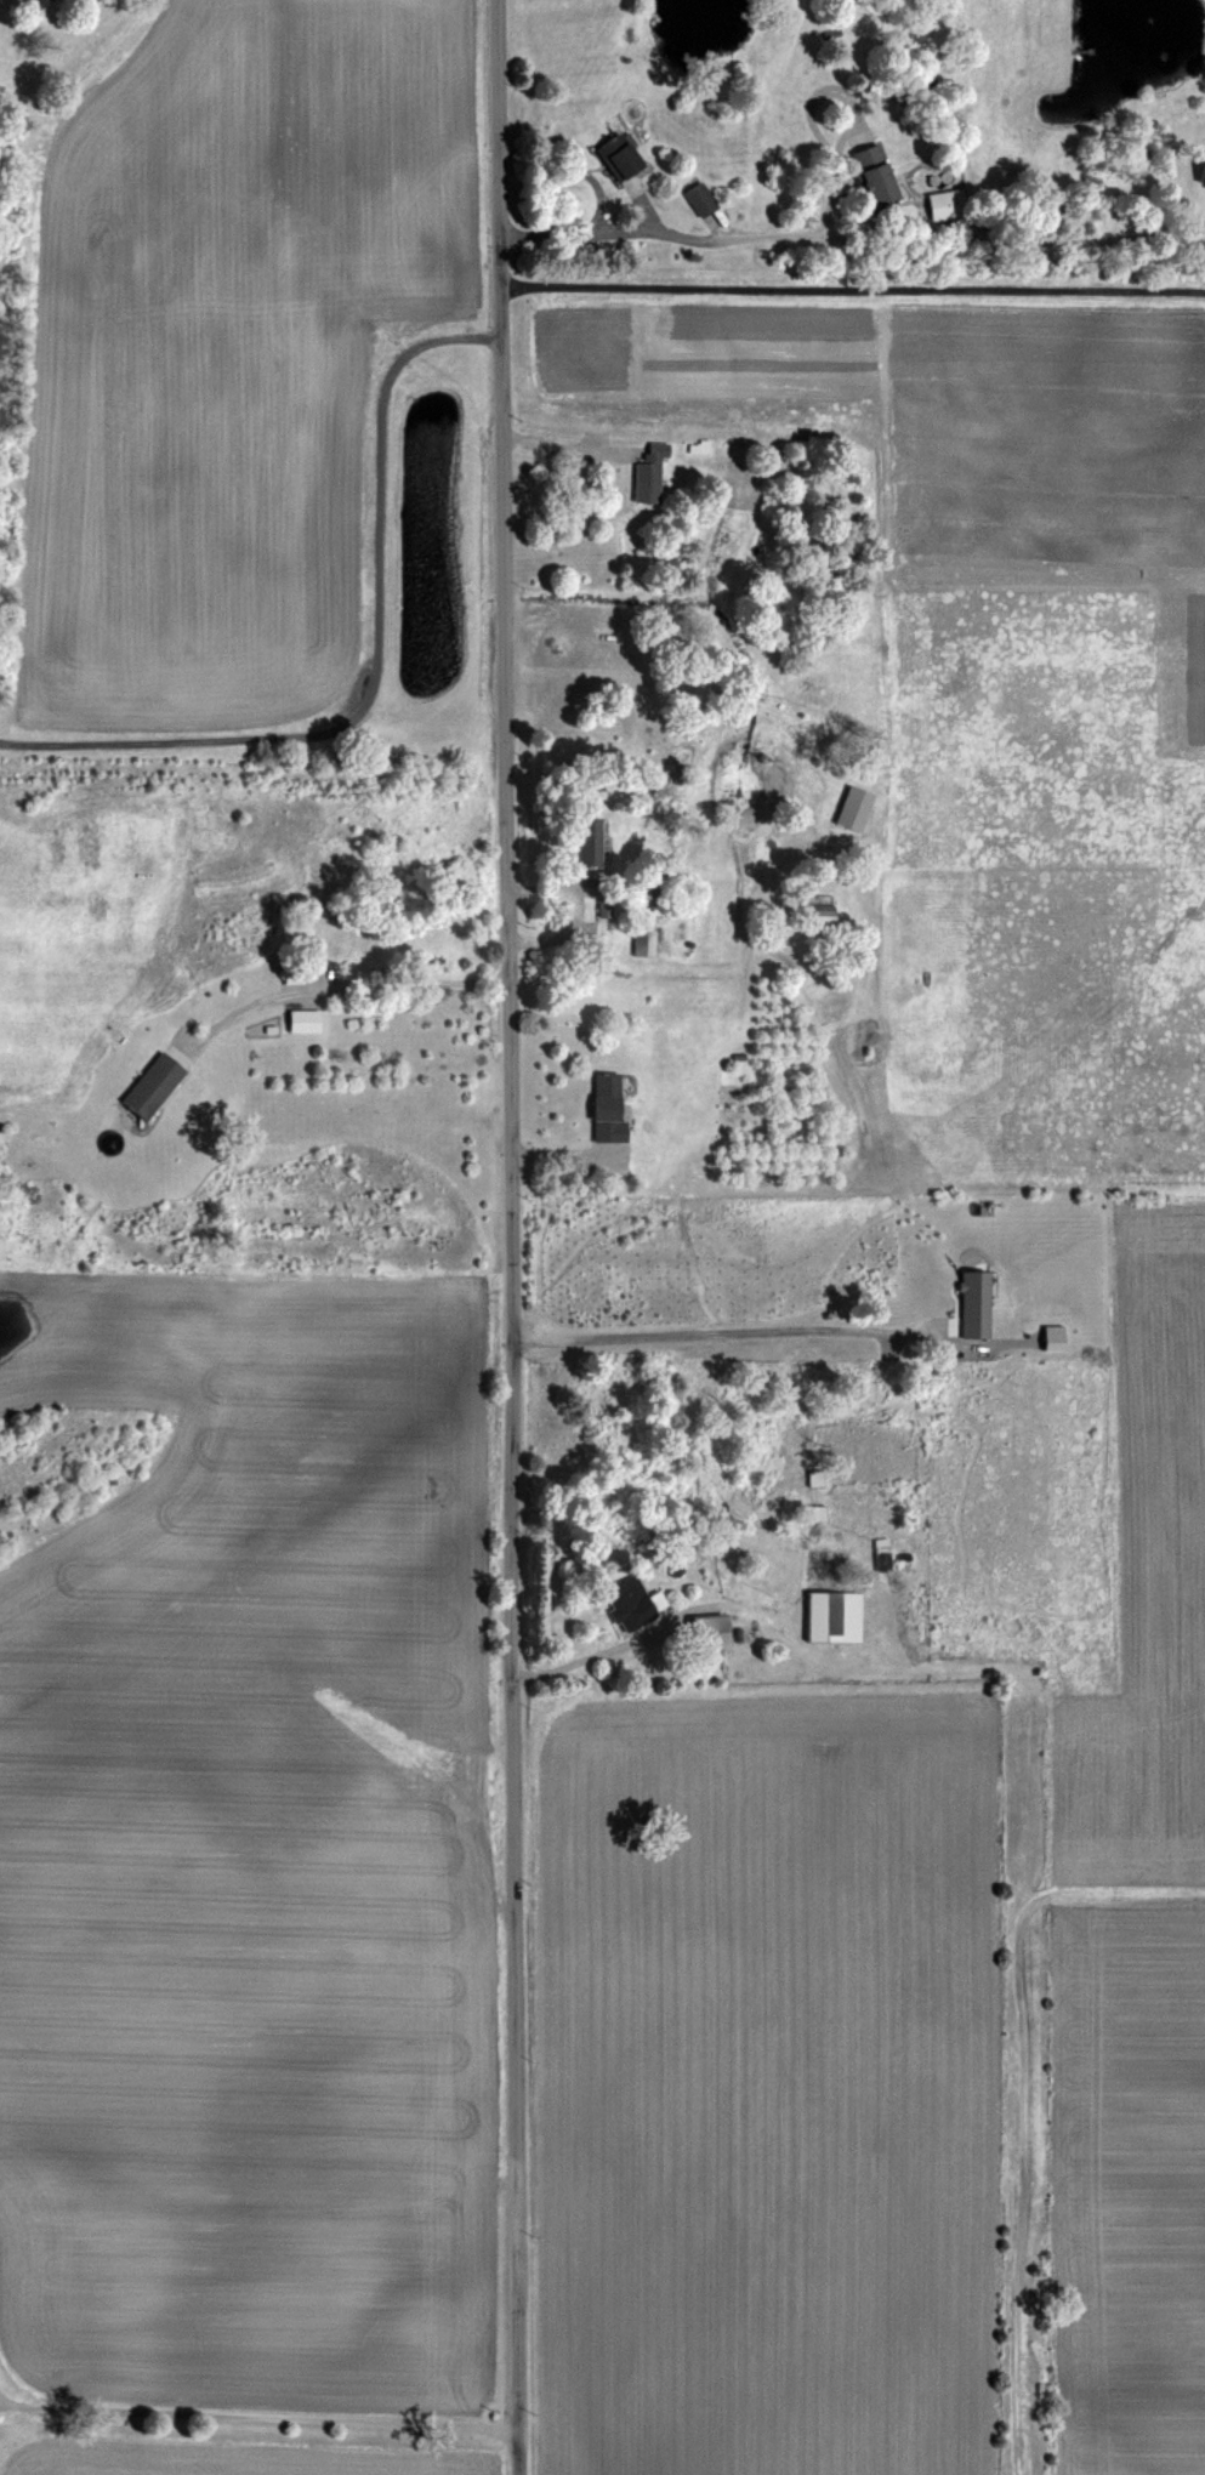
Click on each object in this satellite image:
building: (29, 1)
building: (612, 154)
building: (1198, 169)
building: (864, 172)
building: (697, 198)
building: (940, 204)
road: (676, 223)
road: (999, 249)
road: (849, 264)
building: (643, 474)
road: (366, 650)
building: (848, 808)
building: (579, 840)
building: (813, 909)
building: (345, 941)
building: (642, 941)
road: (751, 950)
road: (335, 980)
building: (299, 1020)
building: (146, 1085)
building: (601, 1109)
road: (501, 1236)
crop: (250, 1293)
road: (724, 1324)
crop: (939, 1535)
building: (627, 1603)
road: (699, 1610)
building: (826, 1617)
building: (704, 1632)
road: (254, 2413)

